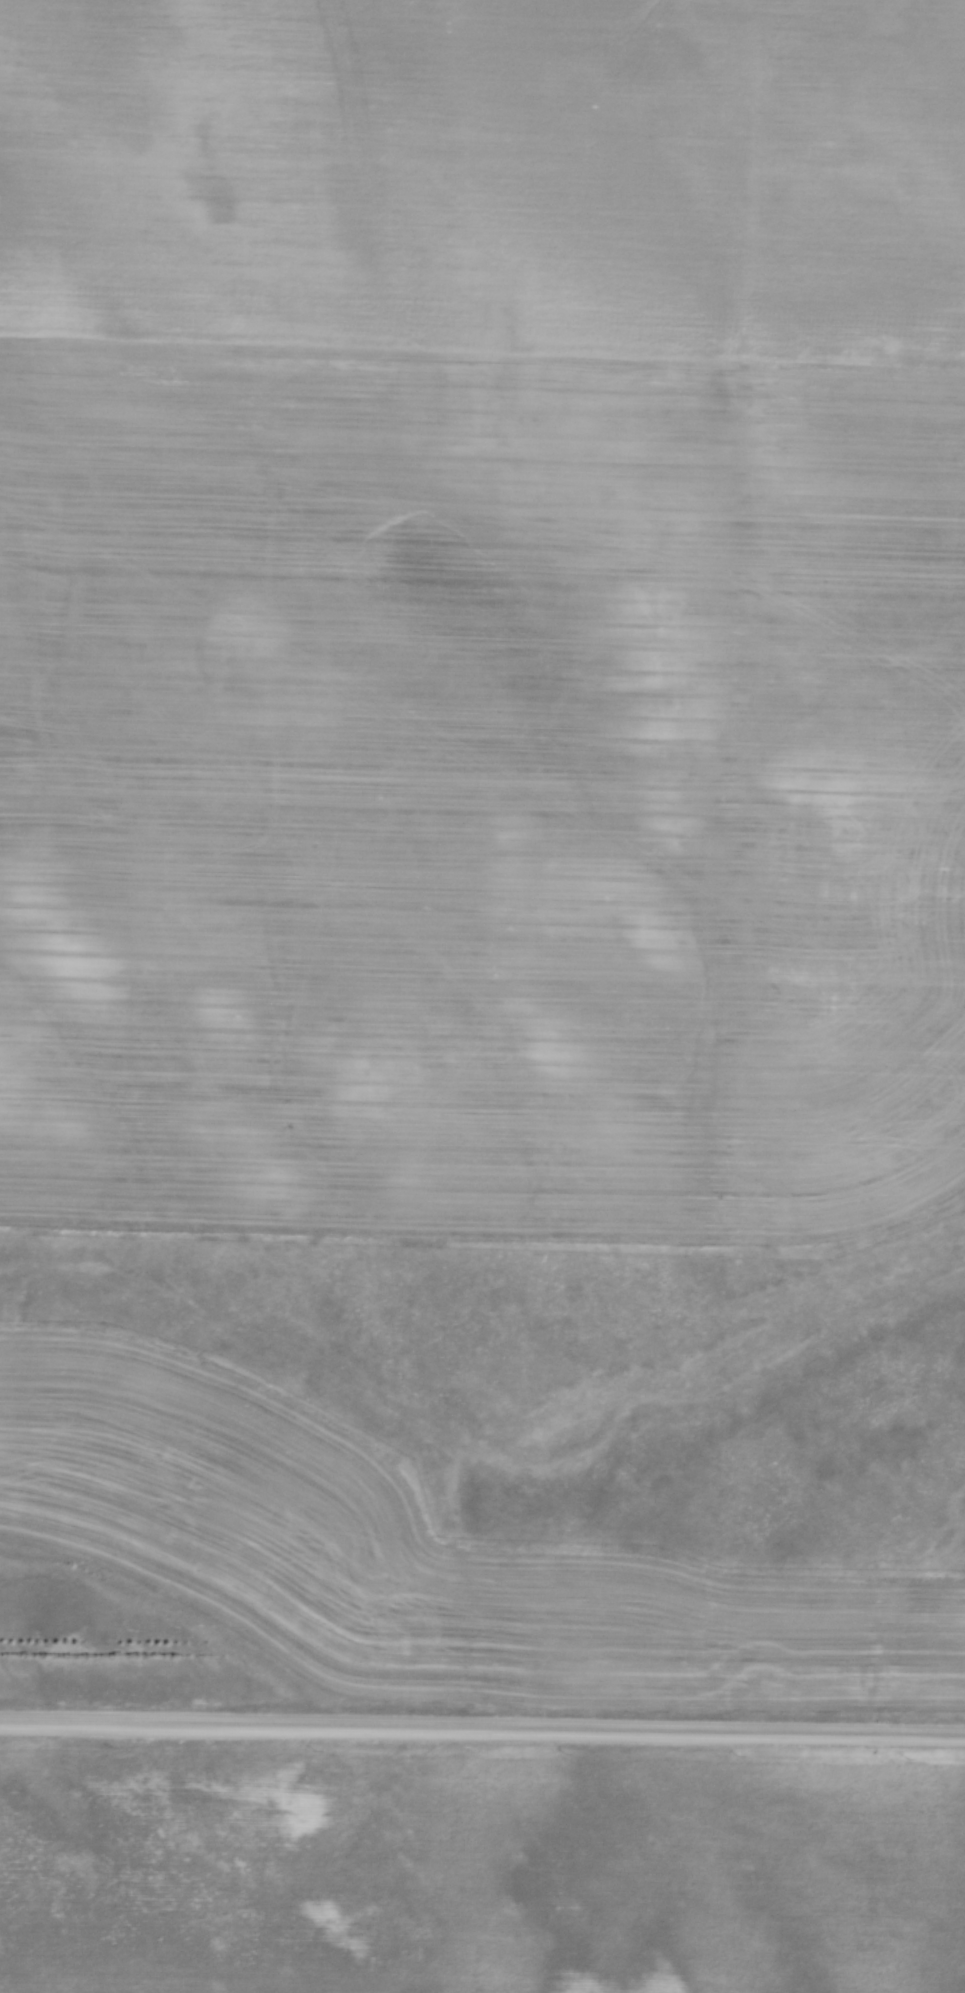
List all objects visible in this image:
crop: (482, 612)
crop: (418, 1558)
road: (482, 1726)

